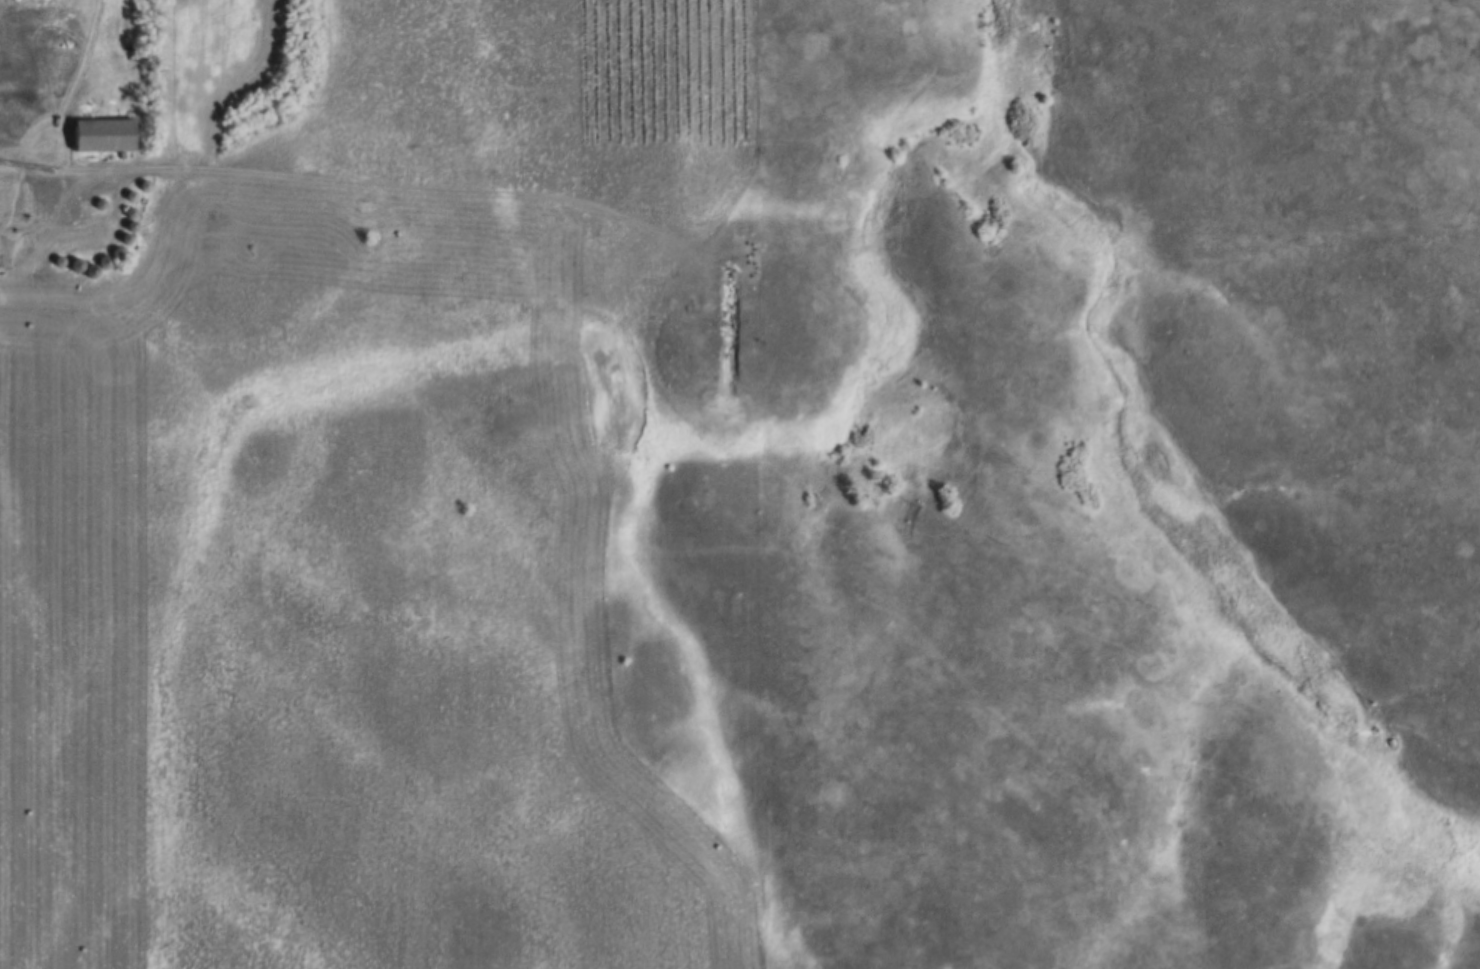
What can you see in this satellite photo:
building: (106, 136)

